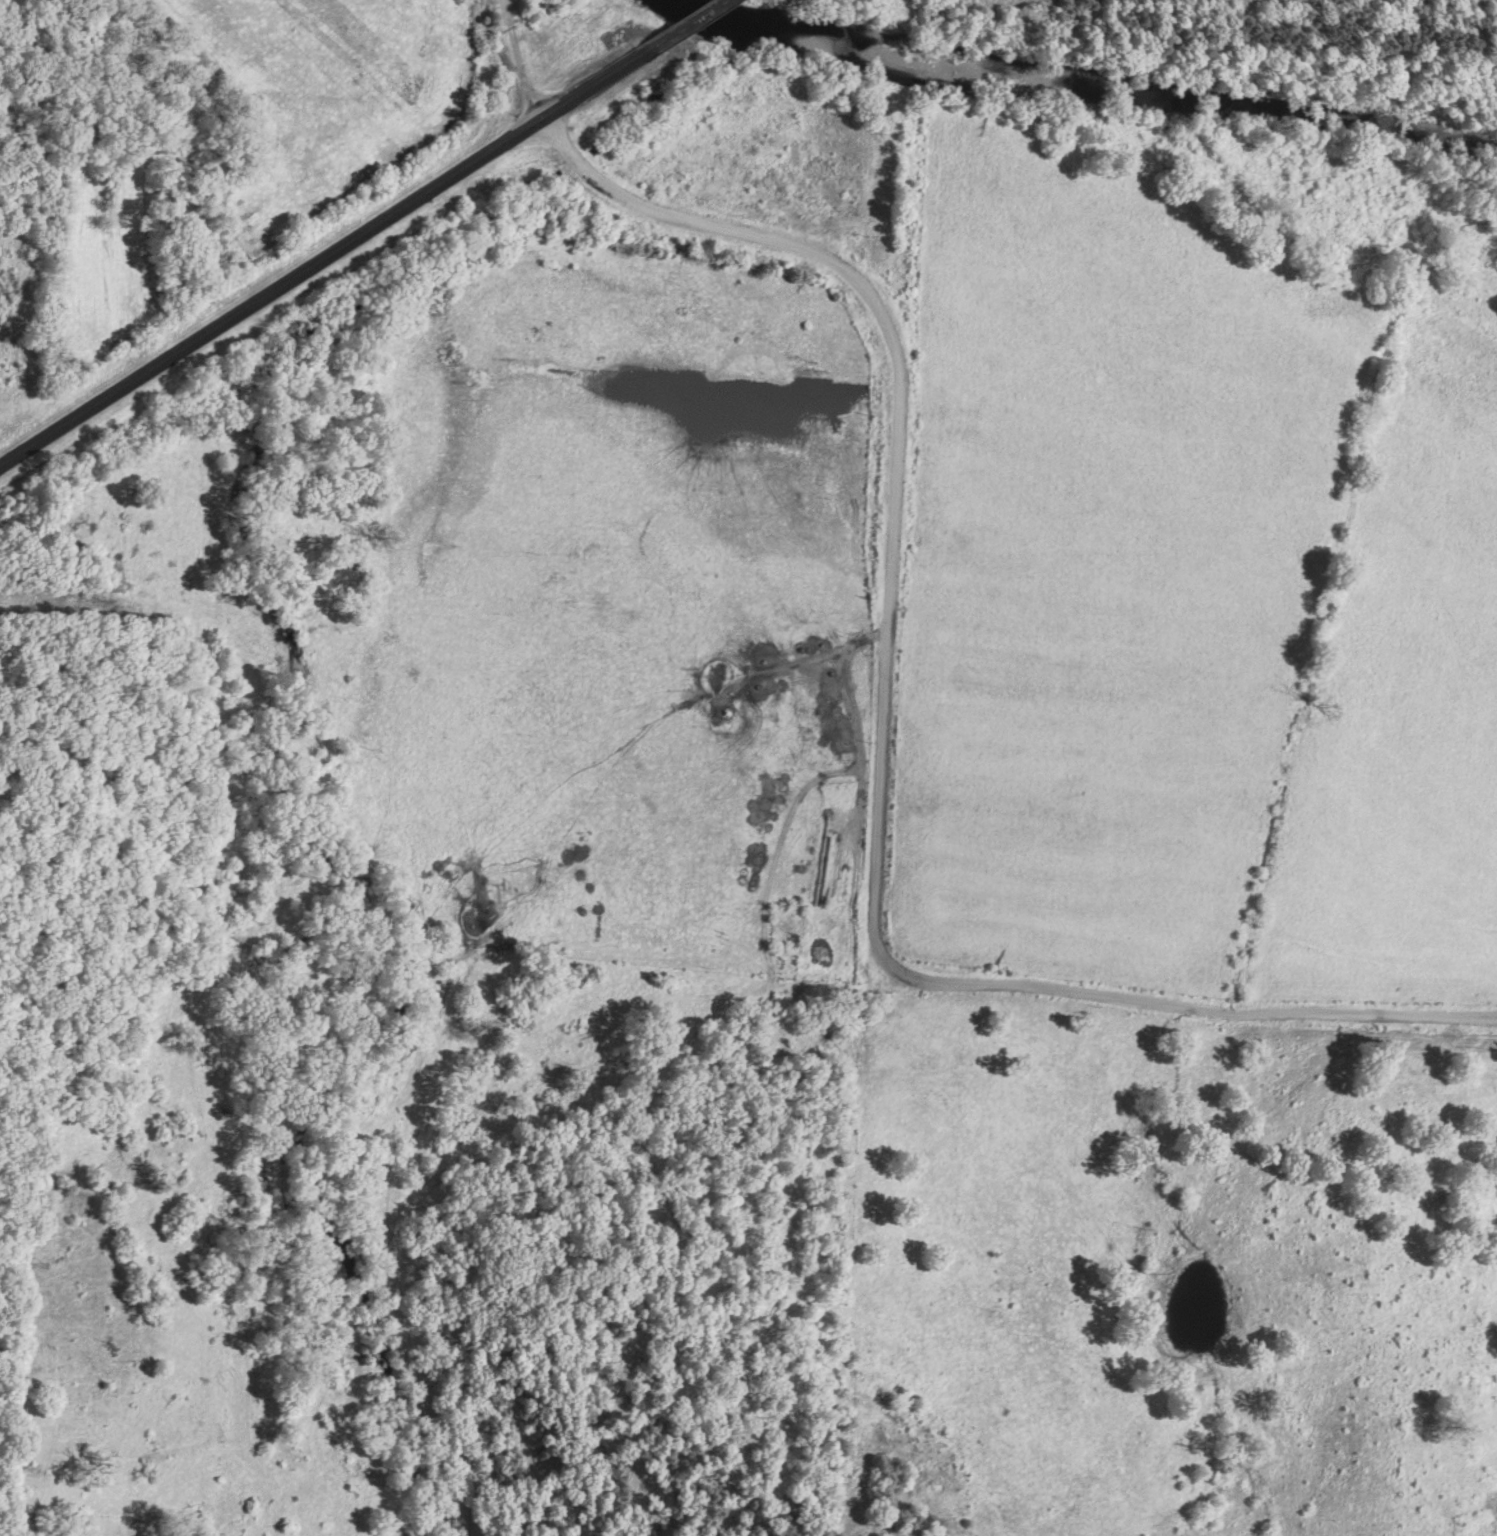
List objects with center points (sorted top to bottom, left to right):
road: (360, 234)
road: (883, 743)

